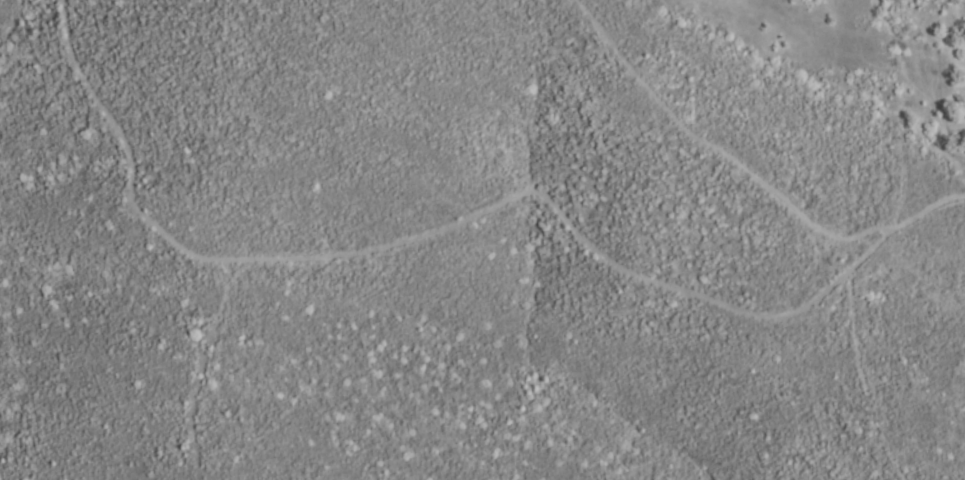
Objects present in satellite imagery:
road: (460, 224)

